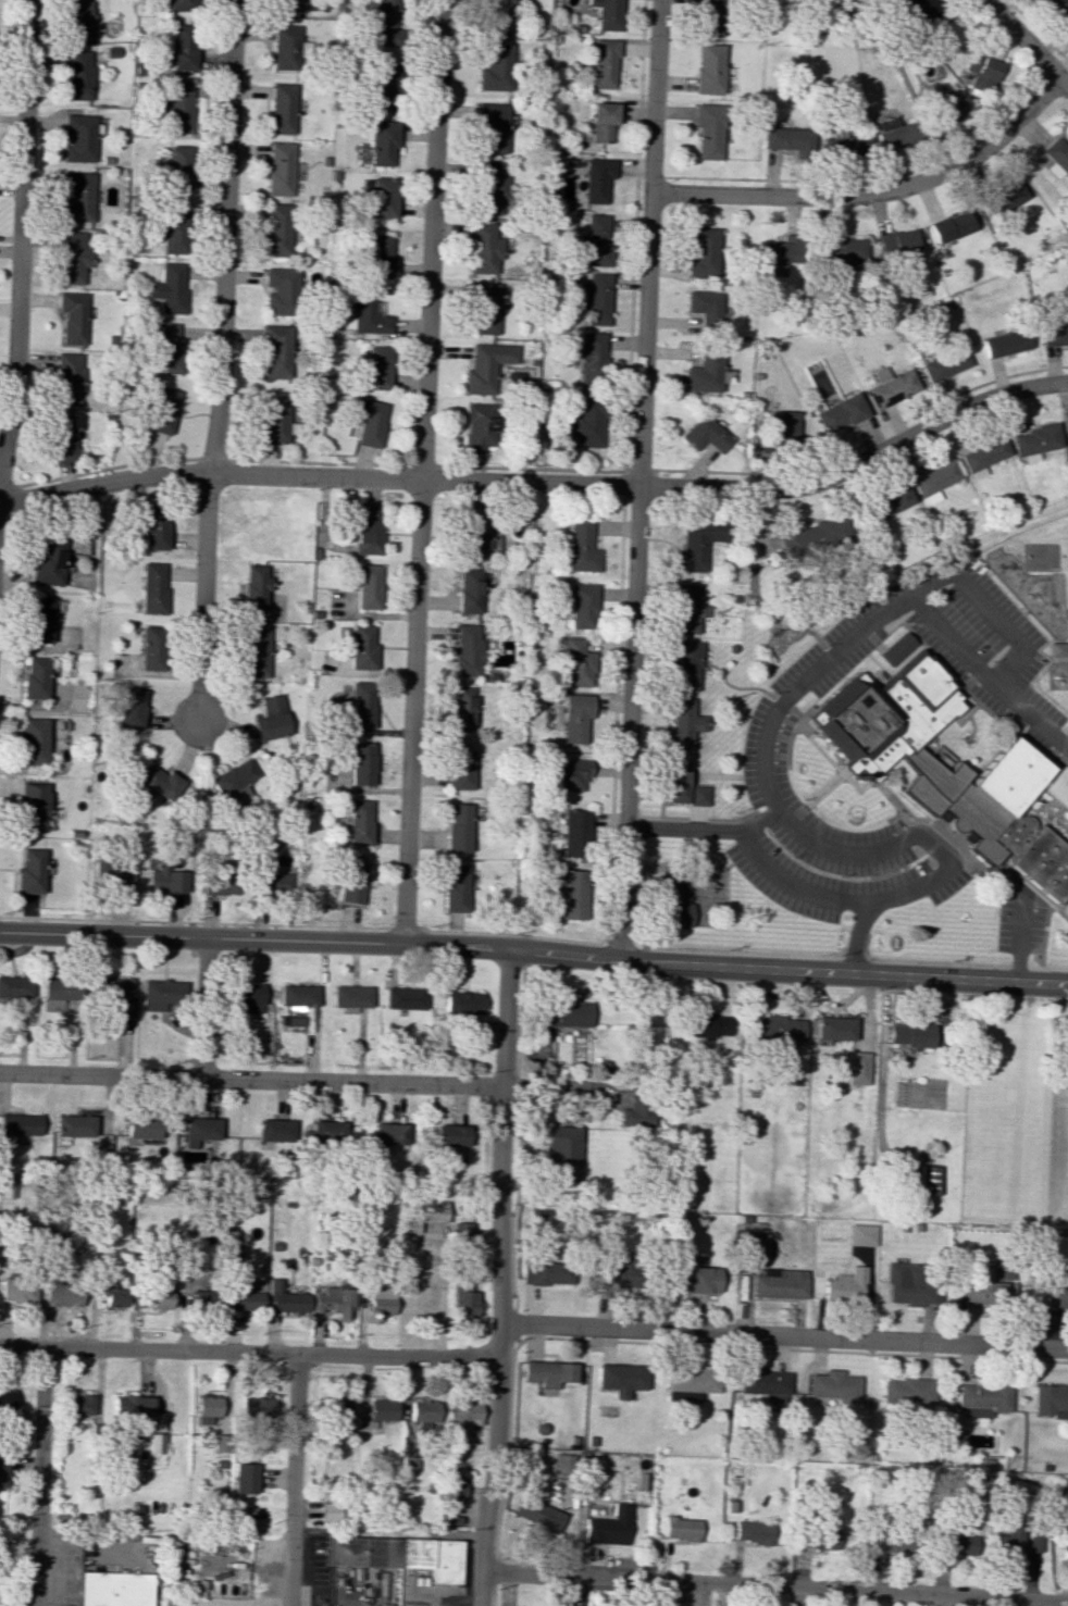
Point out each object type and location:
building: (181, 5)
building: (288, 5)
building: (1056, 9)
building: (914, 10)
building: (608, 14)
building: (496, 15)
building: (710, 17)
building: (78, 18)
building: (385, 24)
road: (1038, 30)
road: (1024, 43)
building: (179, 46)
building: (286, 47)
building: (604, 63)
building: (494, 66)
building: (708, 69)
building: (982, 70)
building: (79, 75)
building: (383, 87)
building: (177, 104)
building: (948, 105)
building: (283, 108)
building: (603, 121)
building: (492, 126)
building: (707, 130)
building: (892, 133)
building: (82, 137)
building: (786, 140)
building: (382, 142)
building: (844, 147)
building: (1056, 157)
building: (178, 167)
building: (281, 169)
building: (597, 178)
building: (488, 187)
road: (874, 192)
building: (79, 197)
building: (383, 197)
building: (1004, 198)
building: (949, 226)
building: (173, 227)
road: (21, 229)
building: (277, 229)
road: (635, 235)
building: (595, 240)
building: (896, 242)
building: (484, 249)
building: (841, 250)
building: (701, 251)
building: (380, 256)
building: (779, 256)
building: (74, 258)
building: (169, 288)
building: (280, 290)
building: (595, 300)
building: (484, 308)
building: (704, 309)
building: (365, 315)
building: (73, 316)
building: (1054, 334)
building: (1005, 343)
building: (169, 348)
building: (276, 350)
building: (592, 357)
road: (221, 362)
building: (945, 364)
building: (374, 366)
building: (486, 366)
building: (706, 371)
building: (67, 378)
building: (891, 386)
building: (163, 410)
building: (840, 413)
building: (274, 418)
building: (368, 421)
building: (585, 421)
building: (479, 426)
building: (783, 428)
building: (705, 434)
building: (1066, 435)
building: (63, 438)
road: (864, 440)
building: (1035, 441)
building: (983, 457)
road: (319, 463)
road: (108, 469)
road: (532, 469)
road: (420, 471)
road: (639, 472)
road: (641, 472)
building: (934, 481)
road: (544, 482)
road: (625, 484)
building: (889, 501)
building: (154, 526)
building: (365, 530)
building: (477, 535)
building: (811, 536)
building: (696, 544)
building: (581, 546)
park: (1040, 557)
building: (48, 559)
building: (253, 585)
building: (365, 585)
building: (151, 588)
building: (468, 590)
building: (583, 606)
building: (685, 608)
road: (991, 614)
building: (39, 620)
road: (894, 624)
road: (783, 627)
road: (805, 632)
building: (151, 648)
building: (362, 648)
building: (896, 648)
building: (1056, 649)
building: (467, 650)
building: (253, 651)
road: (896, 659)
building: (575, 663)
building: (685, 665)
road: (897, 674)
building: (35, 677)
road: (737, 688)
road: (977, 700)
road: (783, 702)
building: (361, 705)
building: (131, 707)
building: (461, 709)
road: (777, 712)
road: (617, 715)
building: (893, 715)
road: (968, 715)
building: (271, 719)
building: (574, 719)
building: (683, 723)
road: (973, 729)
road: (1067, 734)
building: (34, 742)
parking lot: (766, 742)
road: (1064, 747)
road: (990, 754)
building: (361, 763)
building: (459, 769)
building: (568, 773)
building: (232, 777)
building: (157, 781)
building: (675, 781)
road: (877, 783)
road: (793, 786)
building: (696, 795)
road: (1031, 795)
road: (1042, 801)
building: (33, 806)
building: (1001, 809)
road: (1041, 810)
road: (697, 818)
road: (759, 819)
building: (357, 821)
road: (1047, 823)
building: (458, 827)
road: (683, 827)
road: (852, 830)
building: (573, 833)
road: (1065, 833)
road: (1007, 867)
building: (30, 871)
building: (111, 877)
road: (839, 877)
building: (164, 880)
building: (273, 883)
building: (351, 883)
building: (216, 884)
road: (792, 886)
building: (455, 887)
building: (572, 894)
building: (675, 902)
building: (1067, 908)
road: (1047, 914)
parking lot: (1020, 918)
road: (196, 922)
road: (406, 929)
road: (614, 934)
road: (626, 935)
road: (517, 936)
road: (856, 937)
road: (1021, 937)
road: (534, 950)
road: (620, 953)
road: (847, 957)
building: (14, 986)
building: (59, 992)
building: (113, 995)
building: (163, 995)
building: (245, 997)
building: (403, 998)
building: (296, 1001)
building: (462, 1003)
road: (203, 1008)
building: (561, 1013)
building: (706, 1024)
building: (779, 1028)
building: (833, 1028)
building: (909, 1034)
road: (881, 1058)
building: (857, 1068)
road: (250, 1079)
road: (556, 1086)
building: (636, 1112)
building: (20, 1125)
building: (73, 1125)
building: (140, 1126)
building: (197, 1130)
building: (272, 1130)
building: (324, 1133)
building: (387, 1133)
building: (449, 1135)
building: (562, 1154)
building: (928, 1180)
building: (541, 1219)
building: (461, 1233)
building: (861, 1234)
building: (754, 1243)
building: (55, 1245)
building: (233, 1258)
building: (544, 1272)
building: (620, 1273)
road: (500, 1278)
building: (695, 1279)
building: (779, 1283)
building: (905, 1284)
building: (845, 1285)
building: (985, 1285)
building: (17, 1290)
building: (160, 1290)
building: (191, 1291)
building: (112, 1293)
building: (63, 1294)
building: (1056, 1295)
building: (463, 1297)
building: (245, 1299)
building: (286, 1299)
building: (381, 1300)
building: (333, 1302)
road: (784, 1332)
road: (249, 1352)
building: (548, 1372)
building: (621, 1378)
building: (690, 1383)
building: (765, 1384)
building: (833, 1385)
building: (906, 1392)
building: (7, 1398)
building: (981, 1398)
building: (1051, 1400)
building: (132, 1405)
building: (82, 1406)
building: (256, 1406)
building: (383, 1409)
building: (209, 1410)
building: (336, 1412)
building: (424, 1412)
building: (464, 1416)
building: (156, 1443)
building: (410, 1462)
building: (563, 1462)
building: (2, 1470)
road: (37, 1476)
building: (246, 1478)
road: (293, 1480)
building: (455, 1489)
building: (328, 1511)
building: (538, 1514)
building: (609, 1527)
building: (681, 1528)
building: (752, 1532)
building: (817, 1539)
building: (1015, 1542)
building: (885, 1543)
building: (958, 1544)
building: (1067, 1545)
building: (398, 1555)
road: (774, 1584)
building: (115, 1589)

